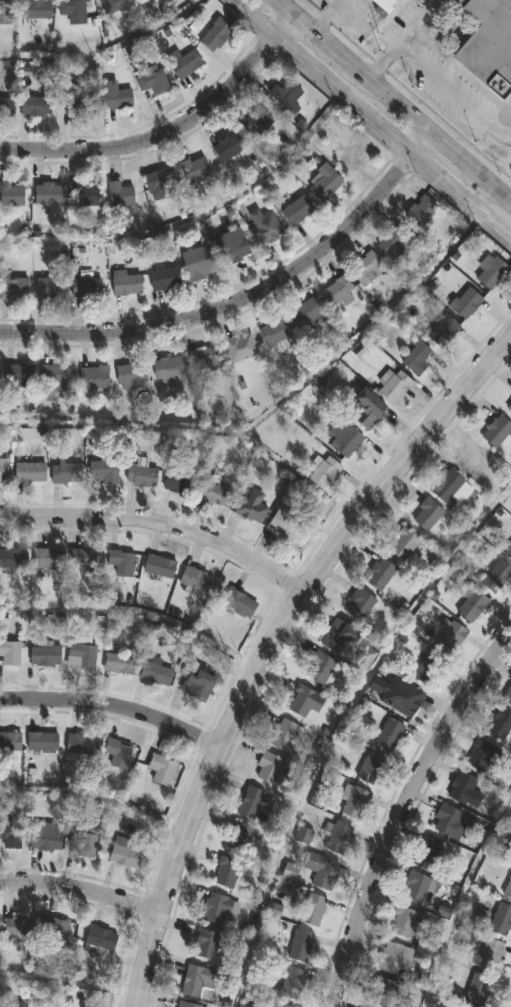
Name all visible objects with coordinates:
road: (279, 1)
building: (386, 3)
building: (116, 6)
building: (37, 10)
building: (72, 11)
building: (5, 12)
building: (215, 36)
road: (397, 37)
building: (488, 44)
road: (105, 50)
building: (183, 64)
building: (152, 82)
road: (450, 93)
building: (286, 97)
road: (392, 99)
building: (116, 100)
building: (74, 104)
building: (36, 107)
building: (7, 108)
road: (375, 118)
building: (257, 123)
road: (169, 132)
building: (228, 148)
building: (354, 154)
building: (194, 170)
building: (325, 183)
building: (159, 185)
building: (48, 195)
building: (84, 196)
building: (120, 196)
building: (11, 197)
building: (297, 211)
building: (420, 211)
road: (197, 225)
building: (264, 229)
building: (393, 243)
building: (232, 247)
building: (198, 264)
building: (367, 269)
building: (492, 274)
building: (164, 281)
building: (126, 284)
building: (50, 289)
building: (87, 289)
building: (14, 290)
building: (337, 292)
road: (246, 296)
building: (465, 303)
building: (307, 315)
building: (443, 331)
building: (274, 333)
building: (240, 347)
building: (417, 359)
building: (205, 361)
building: (167, 370)
building: (131, 374)
building: (19, 377)
building: (55, 377)
building: (94, 378)
building: (394, 388)
road: (276, 406)
building: (509, 408)
building: (365, 410)
building: (345, 442)
building: (476, 463)
building: (3, 471)
building: (29, 474)
building: (66, 474)
building: (103, 474)
building: (324, 474)
building: (141, 478)
building: (178, 483)
building: (450, 487)
building: (215, 495)
building: (249, 513)
building: (427, 514)
road: (158, 524)
building: (284, 526)
building: (403, 544)
building: (508, 552)
building: (12, 560)
building: (48, 560)
building: (82, 562)
building: (121, 564)
building: (158, 567)
building: (380, 574)
building: (496, 576)
building: (195, 580)
building: (239, 604)
building: (359, 605)
building: (473, 607)
road: (133, 616)
building: (339, 636)
road: (271, 642)
building: (9, 653)
building: (45, 656)
building: (81, 656)
building: (118, 664)
building: (322, 669)
building: (429, 669)
building: (155, 674)
building: (196, 685)
building: (401, 696)
building: (508, 696)
building: (305, 701)
road: (111, 706)
building: (499, 724)
road: (344, 732)
building: (390, 734)
building: (284, 735)
building: (10, 742)
building: (42, 742)
building: (81, 744)
building: (118, 753)
building: (481, 754)
building: (269, 767)
building: (372, 768)
building: (160, 769)
building: (462, 787)
road: (92, 801)
building: (250, 802)
building: (353, 802)
road: (399, 811)
building: (449, 821)
building: (10, 835)
building: (240, 836)
building: (338, 837)
building: (47, 840)
building: (81, 840)
building: (124, 853)
building: (429, 853)
building: (320, 869)
building: (227, 872)
building: (416, 887)
building: (507, 888)
road: (79, 890)
road: (462, 897)
building: (216, 908)
building: (312, 909)
building: (501, 918)
building: (406, 922)
building: (20, 927)
building: (57, 933)
building: (100, 939)
building: (206, 944)
building: (301, 945)
building: (491, 953)
building: (395, 957)
building: (197, 980)
road: (68, 982)
building: (293, 983)
building: (475, 988)
building: (383, 992)
building: (11, 1004)
building: (188, 1004)
building: (281, 1006)

